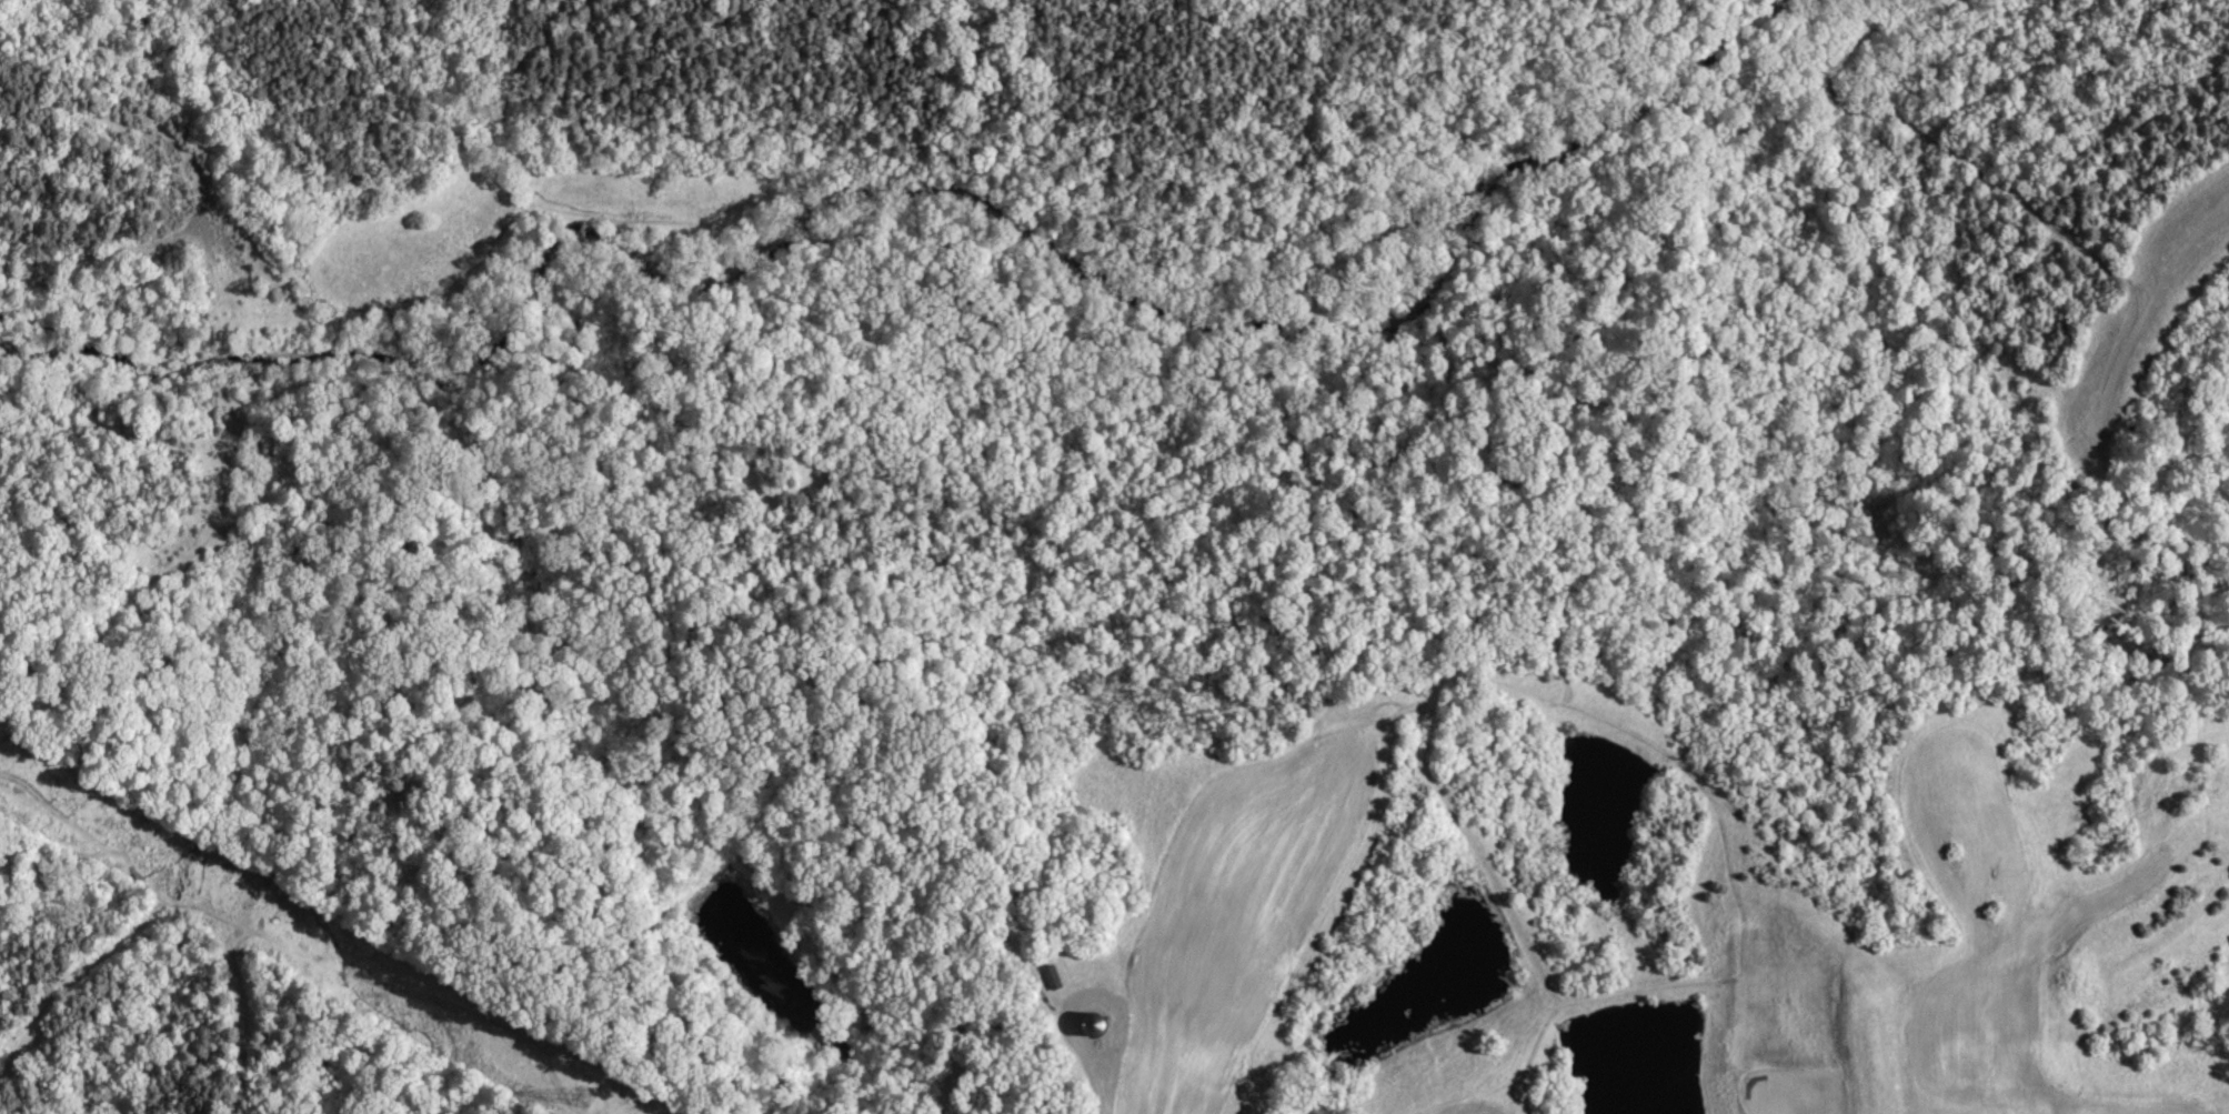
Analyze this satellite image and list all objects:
road: (1093, 994)
power tower: (596, 1092)
road: (1107, 1110)

